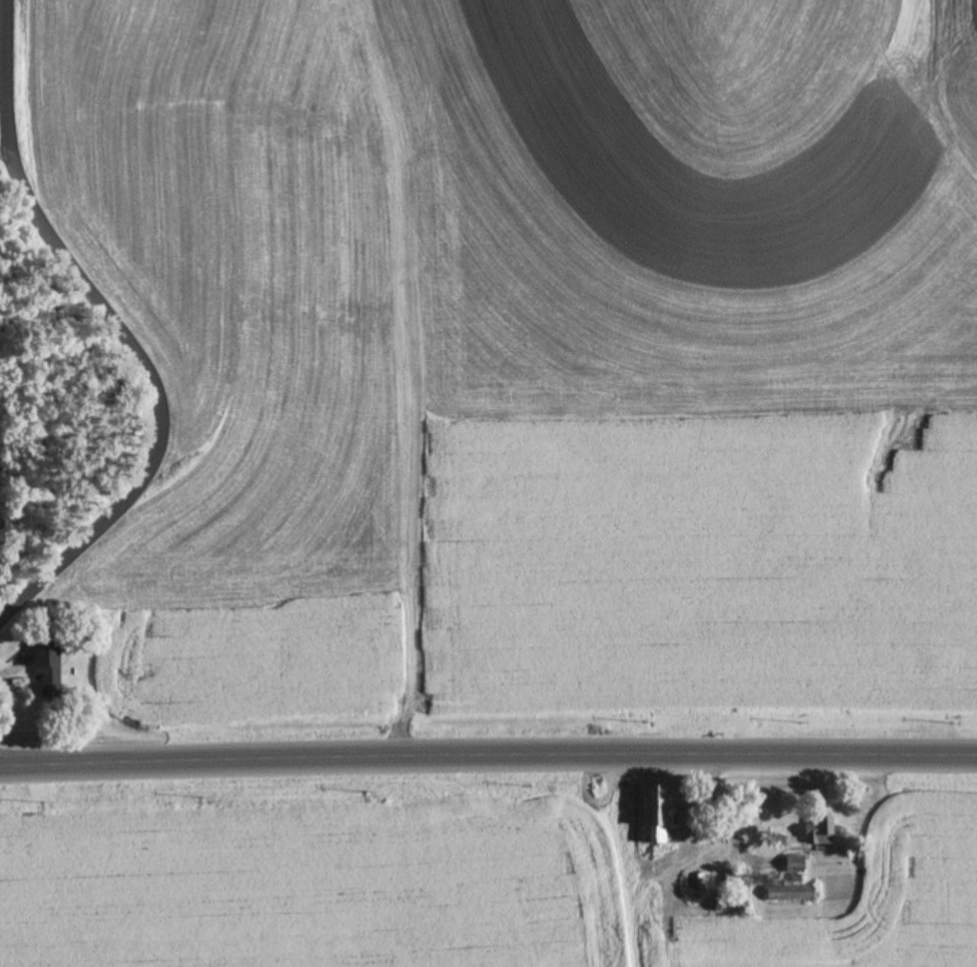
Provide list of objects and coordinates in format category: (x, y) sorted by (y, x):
road: (121, 324)
building: (46, 669)
road: (488, 751)
building: (654, 815)
road: (732, 816)
building: (818, 831)
building: (794, 864)
building: (735, 877)
building: (695, 880)
building: (788, 893)
building: (729, 904)

